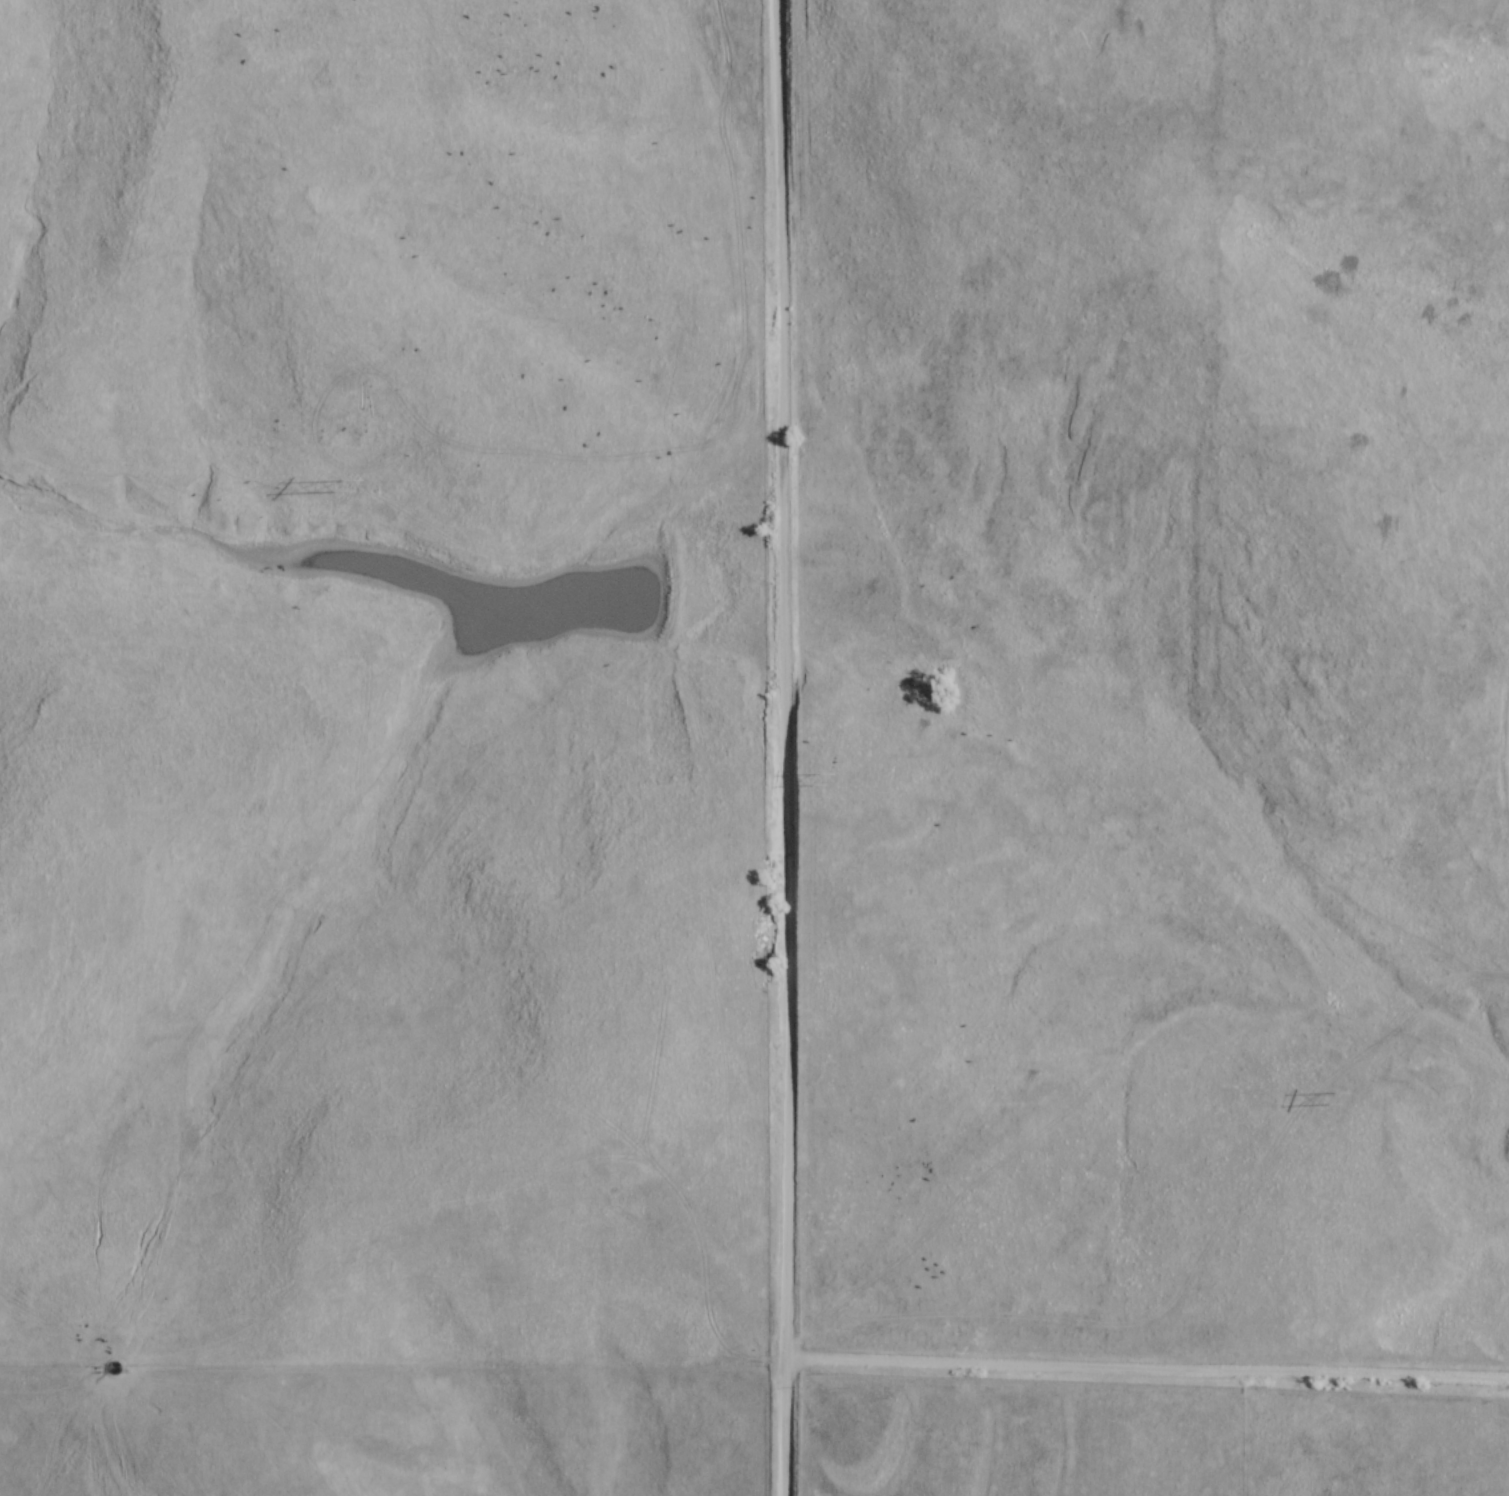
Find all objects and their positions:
power tower: (354, 484)
road: (777, 747)
power tower: (829, 778)
power tower: (1339, 1099)
road: (1145, 1369)

